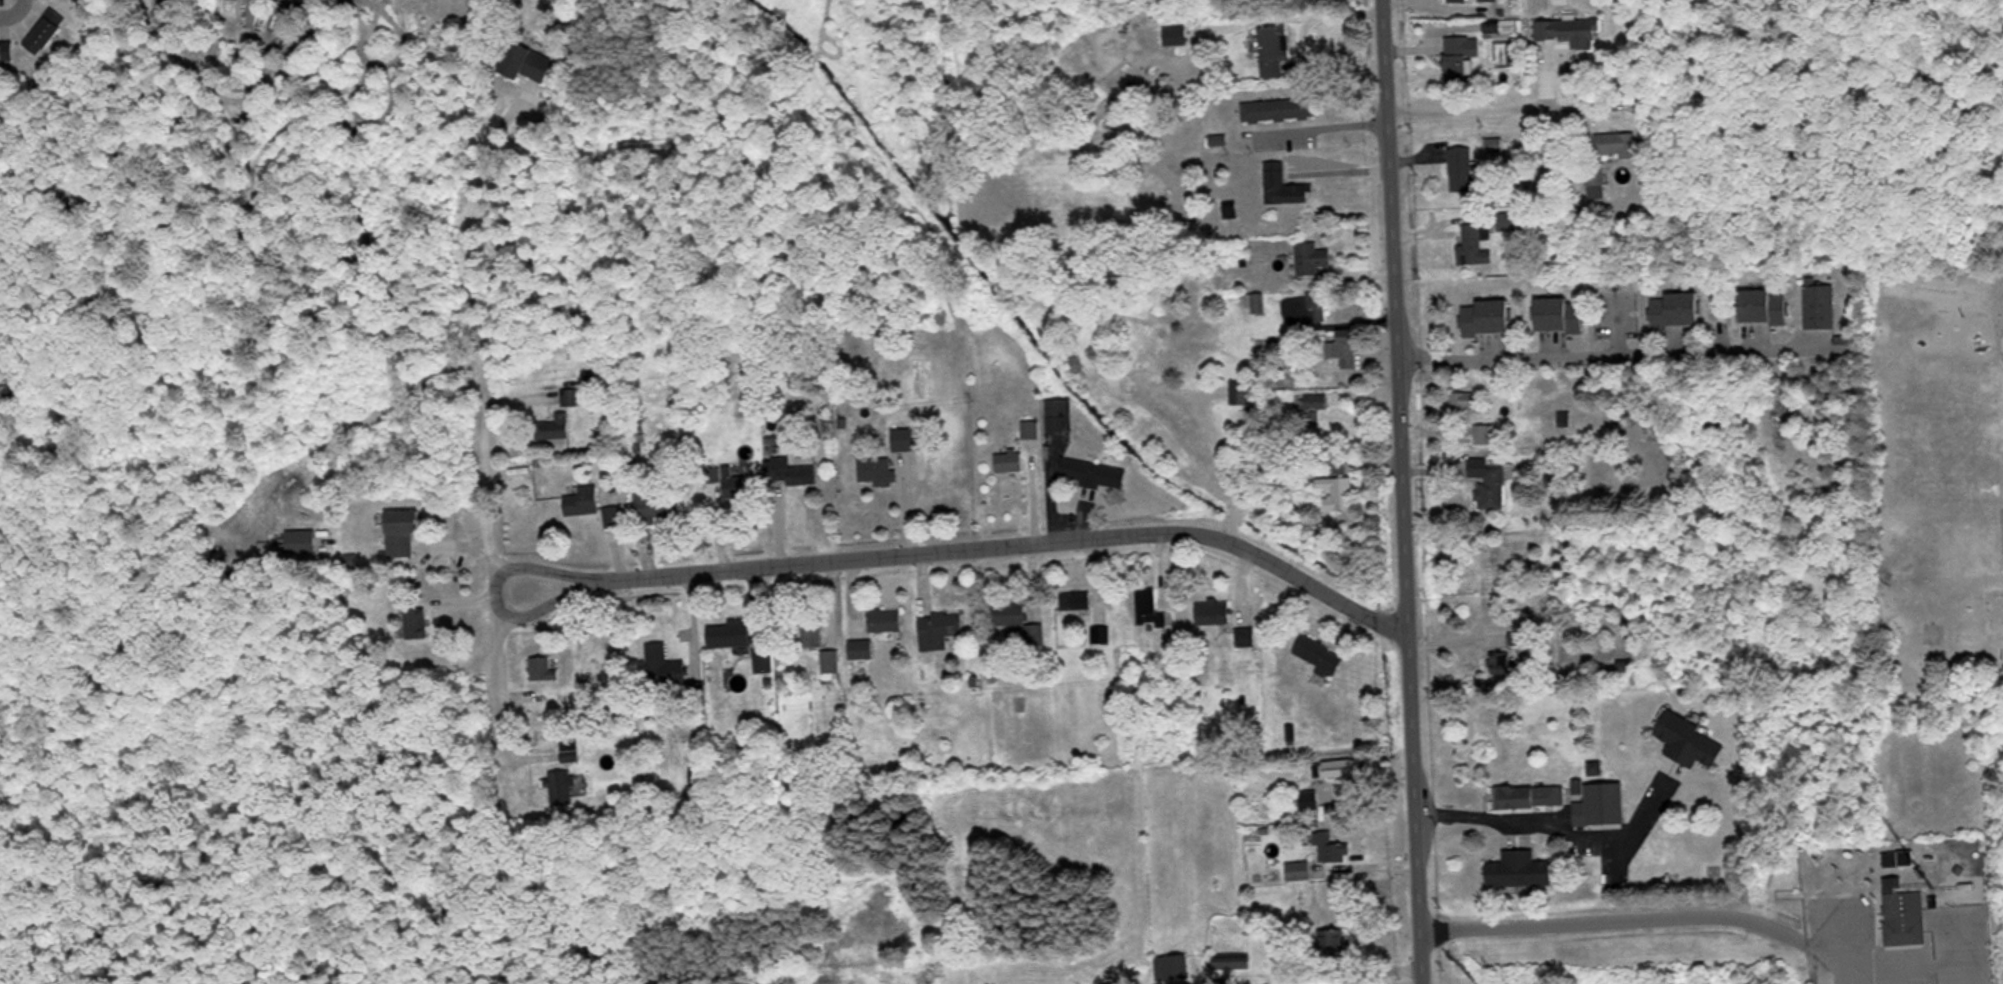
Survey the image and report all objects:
building: (1455, 0)
road: (13, 11)
building: (44, 30)
building: (1568, 30)
building: (1165, 34)
building: (1273, 48)
building: (5, 51)
building: (1460, 56)
building: (527, 61)
building: (1278, 108)
road: (1491, 115)
road: (1318, 132)
building: (1616, 142)
building: (1202, 164)
building: (1460, 167)
building: (1594, 172)
road: (1338, 174)
building: (1281, 184)
building: (1472, 244)
road: (468, 252)
building: (1312, 257)
building: (1255, 301)
building: (1819, 304)
building: (1316, 305)
building: (1764, 305)
building: (1677, 308)
building: (1560, 313)
building: (1486, 316)
building: (1846, 342)
building: (1344, 347)
road: (1609, 360)
building: (1239, 391)
building: (567, 395)
building: (1315, 399)
building: (1466, 399)
building: (1059, 413)
building: (553, 425)
building: (904, 438)
building: (1009, 460)
building: (1335, 462)
building: (877, 469)
building: (791, 470)
building: (1093, 472)
building: (712, 473)
building: (1488, 481)
building: (736, 483)
building: (1337, 491)
road: (1396, 491)
building: (583, 499)
building: (653, 502)
building: (613, 515)
building: (401, 530)
road: (952, 547)
road: (481, 595)
building: (1076, 599)
building: (1149, 607)
building: (1213, 610)
building: (885, 618)
building: (1017, 619)
building: (415, 621)
building: (938, 628)
building: (811, 629)
building: (729, 632)
building: (1245, 635)
building: (1516, 636)
building: (860, 647)
building: (1320, 654)
building: (763, 659)
building: (830, 660)
building: (1502, 661)
building: (542, 667)
building: (671, 671)
building: (1690, 740)
building: (1333, 767)
building: (1528, 795)
building: (1599, 802)
road: (1552, 814)
building: (1330, 847)
building: (1520, 869)
building: (1298, 870)
building: (1902, 913)
building: (1333, 944)
building: (1232, 961)
building: (1178, 966)
road: (1439, 972)
road: (1919, 972)

